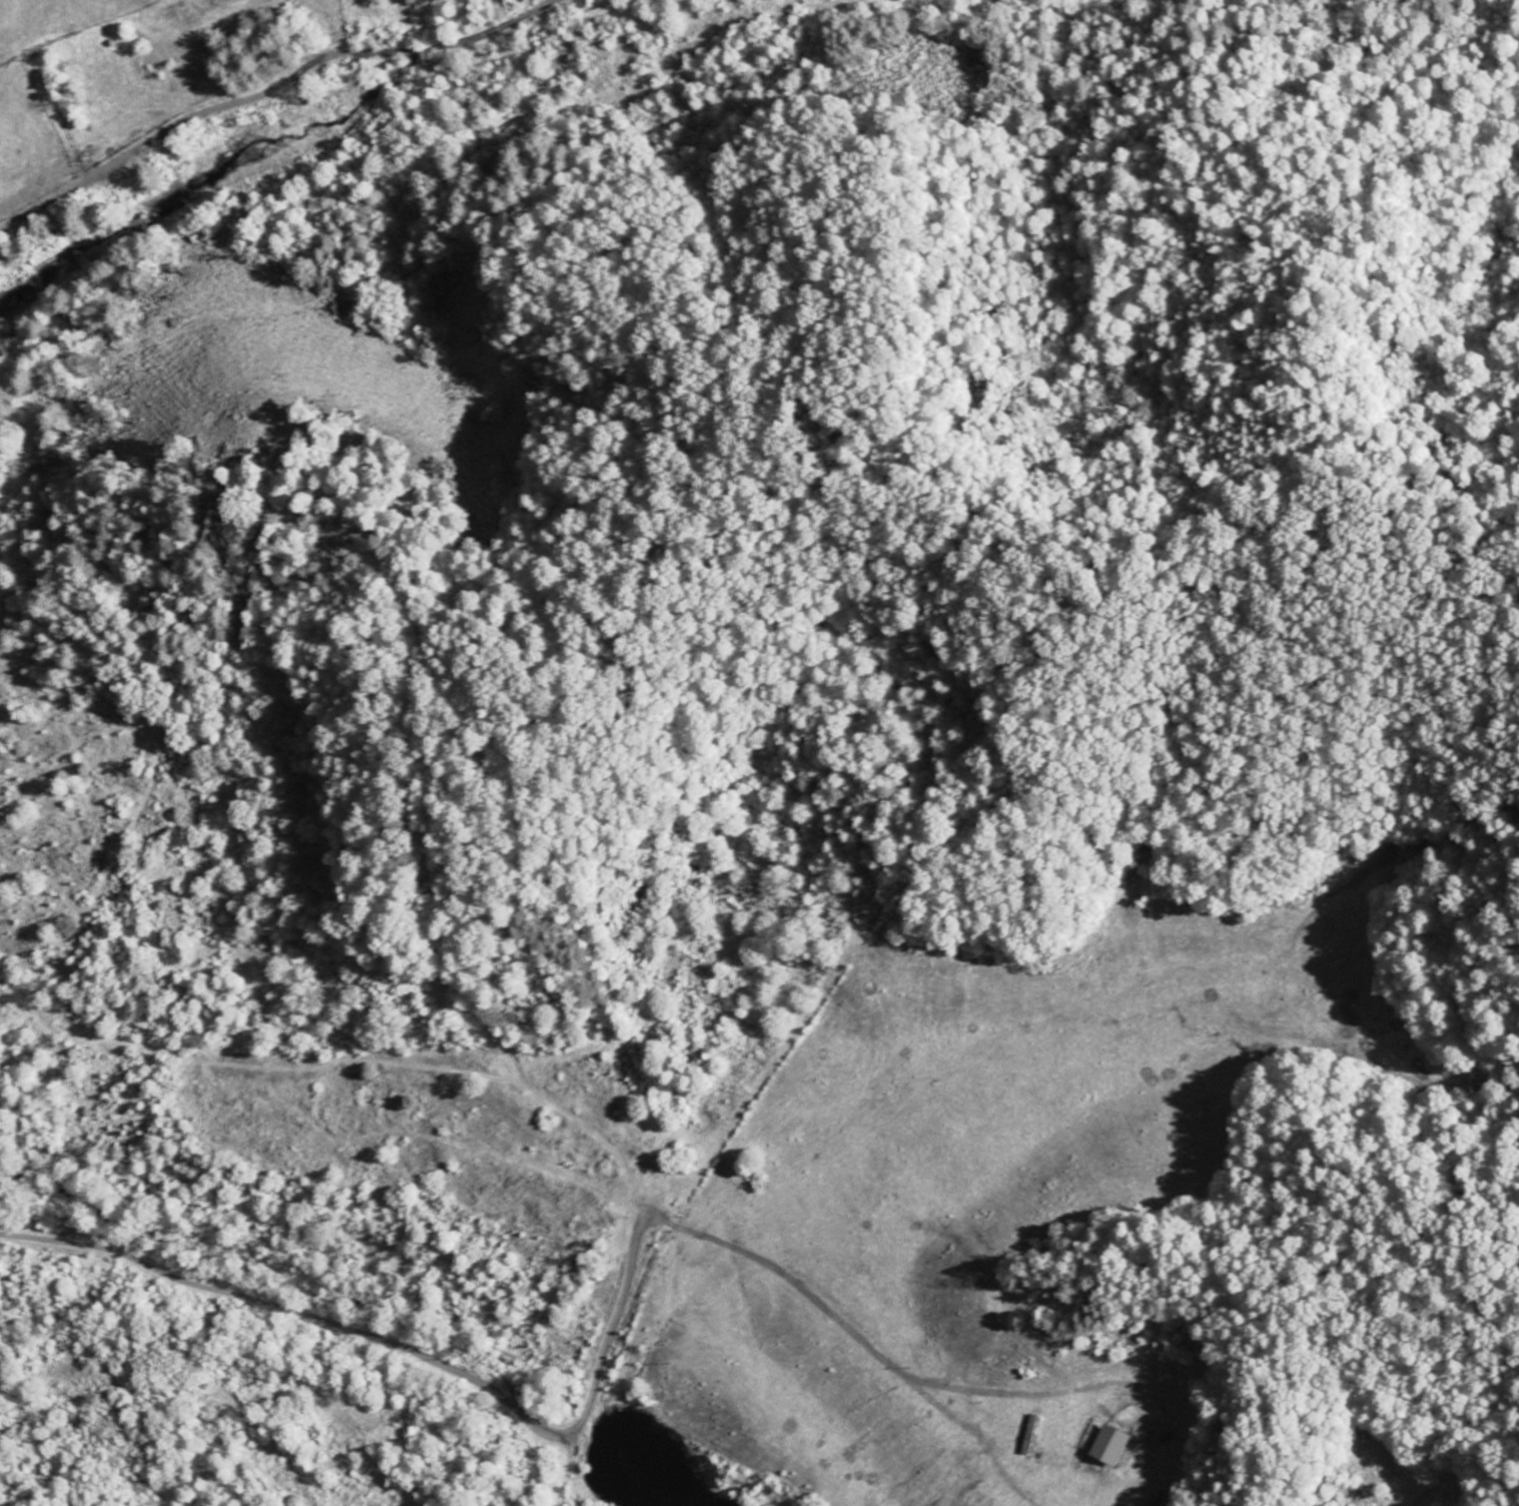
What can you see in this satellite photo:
building: (1111, 1447)

